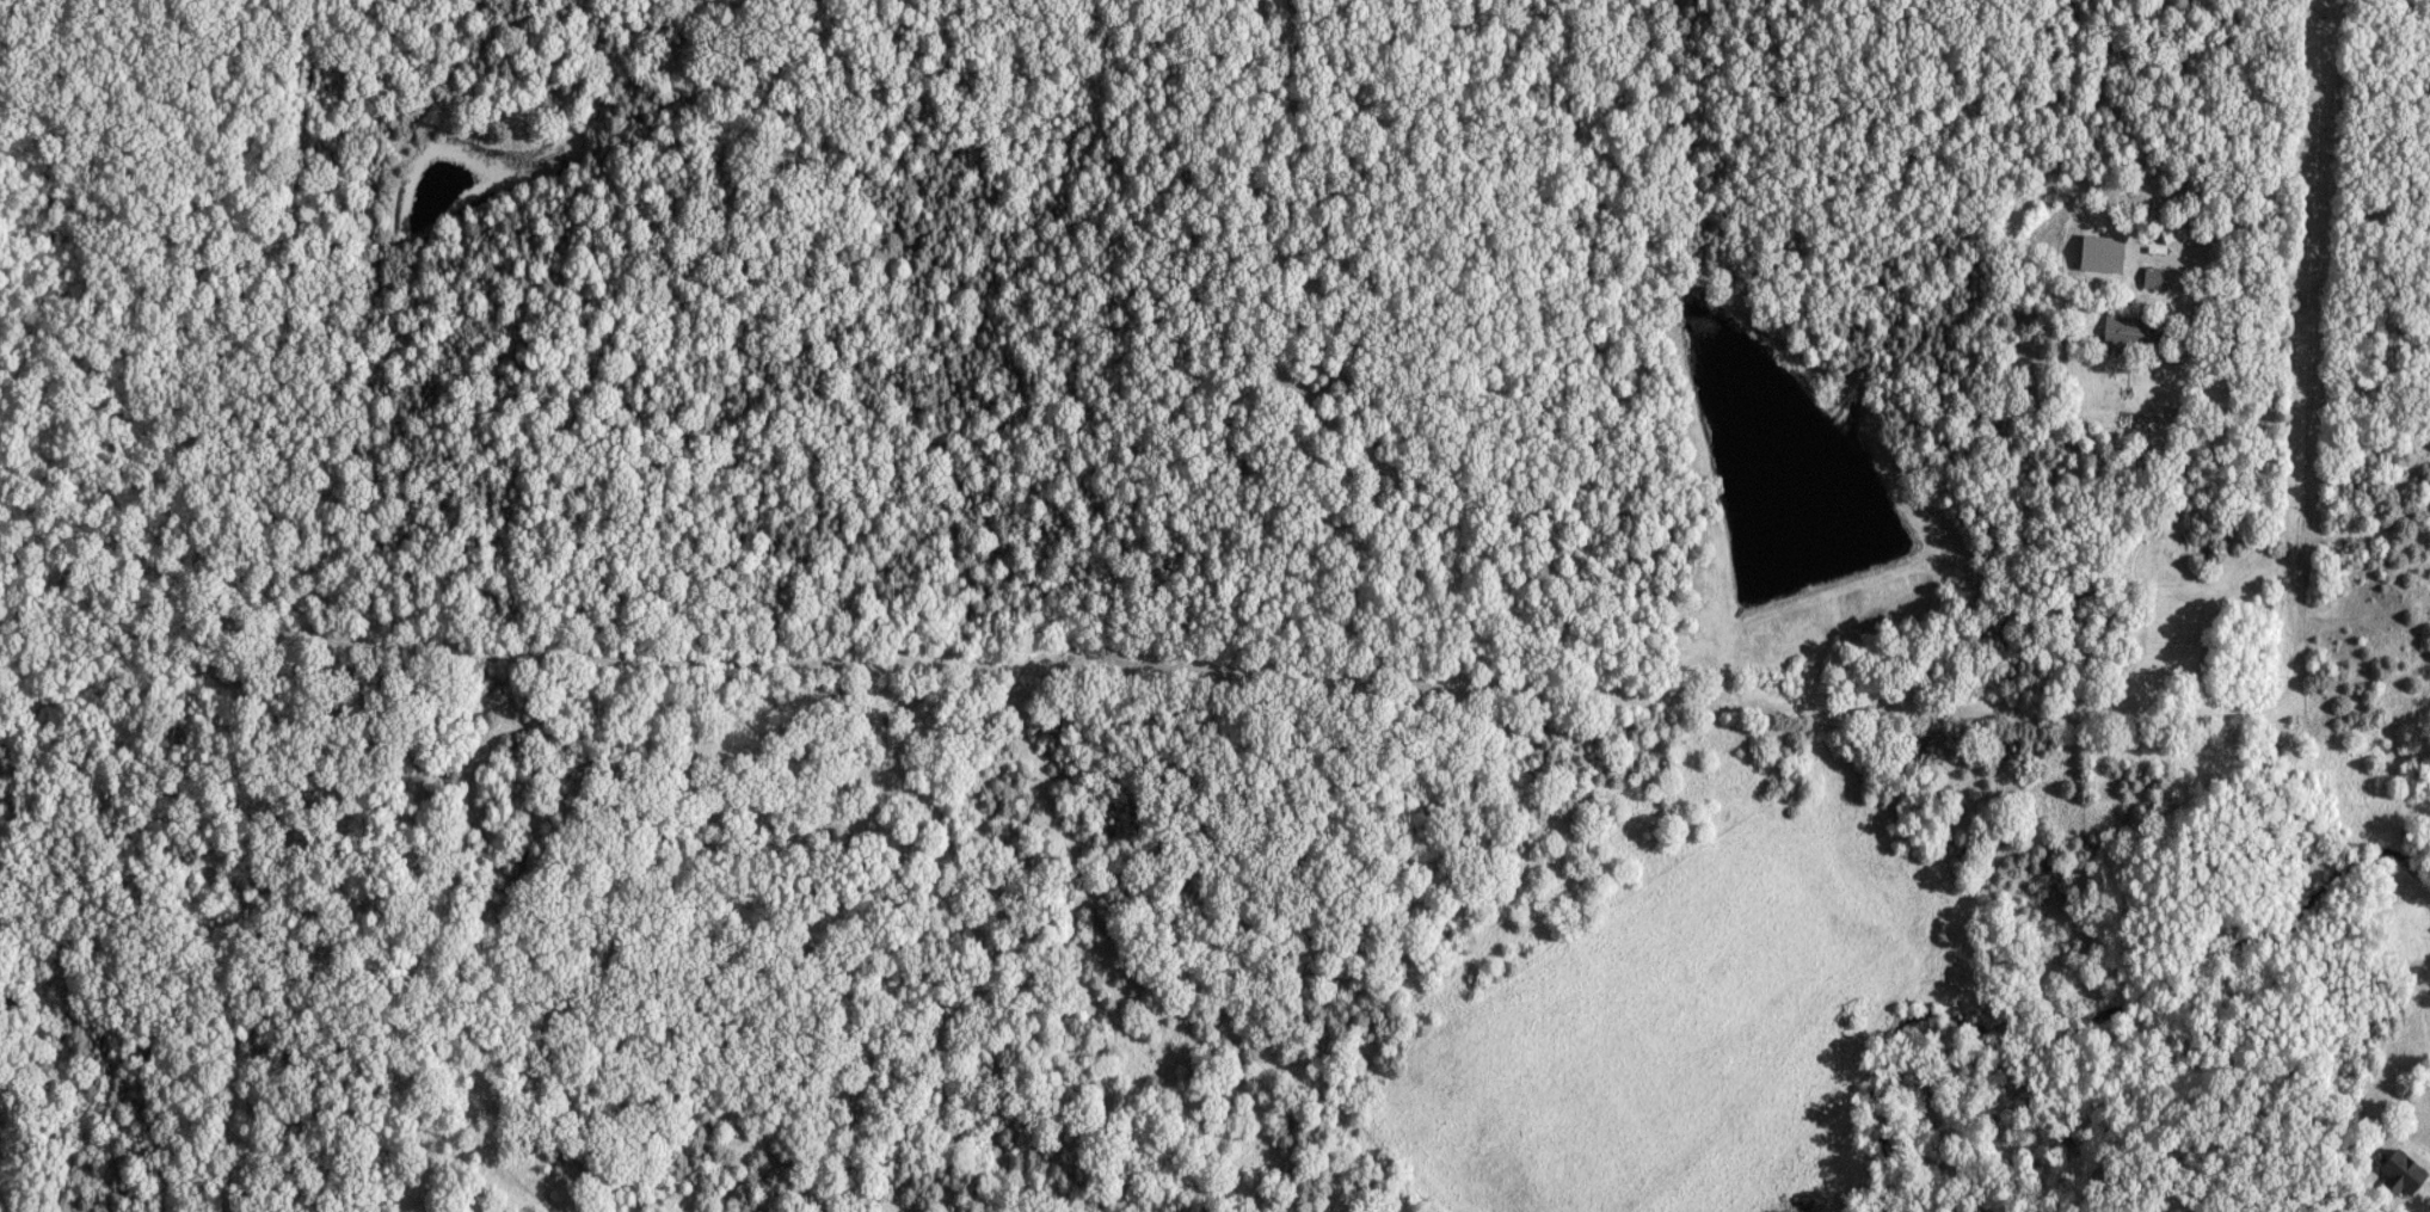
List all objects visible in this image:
road: (2294, 162)
building: (2173, 233)
building: (2155, 278)
building: (2129, 333)
road: (2173, 363)
building: (2401, 1171)
road: (2362, 1201)

